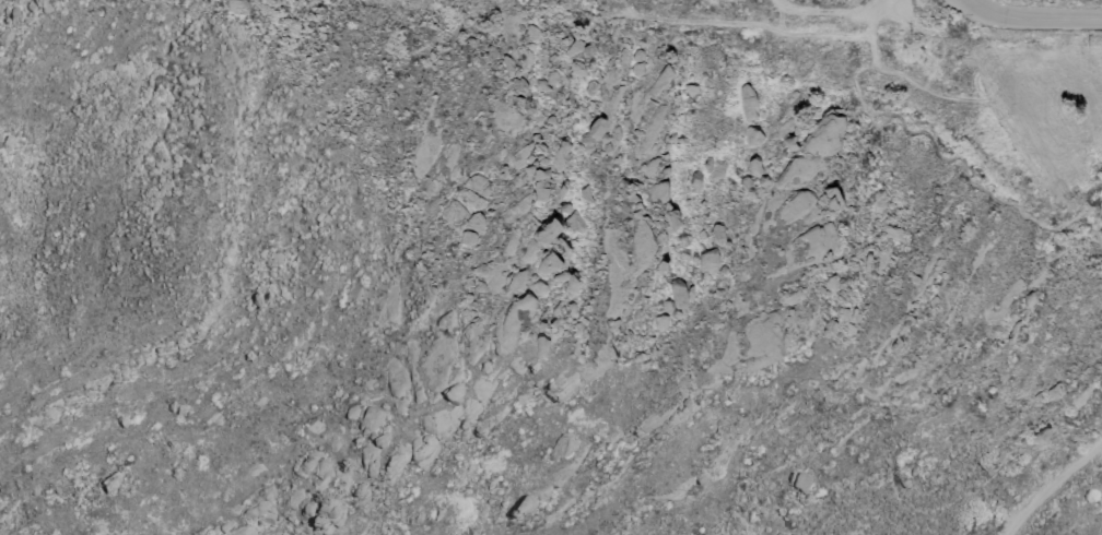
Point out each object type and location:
building: (234, 5)
road: (1033, 17)
building: (572, 46)
building: (231, 64)
building: (575, 68)
building: (658, 80)
building: (747, 100)
building: (751, 134)
building: (599, 136)
building: (693, 181)
building: (540, 186)
building: (658, 191)
building: (829, 199)
building: (473, 221)
building: (575, 223)
building: (716, 231)
building: (466, 237)
building: (555, 267)
building: (678, 292)
building: (659, 320)
building: (539, 341)
building: (370, 419)
building: (800, 483)
road: (1050, 484)
building: (318, 520)
building: (469, 533)

